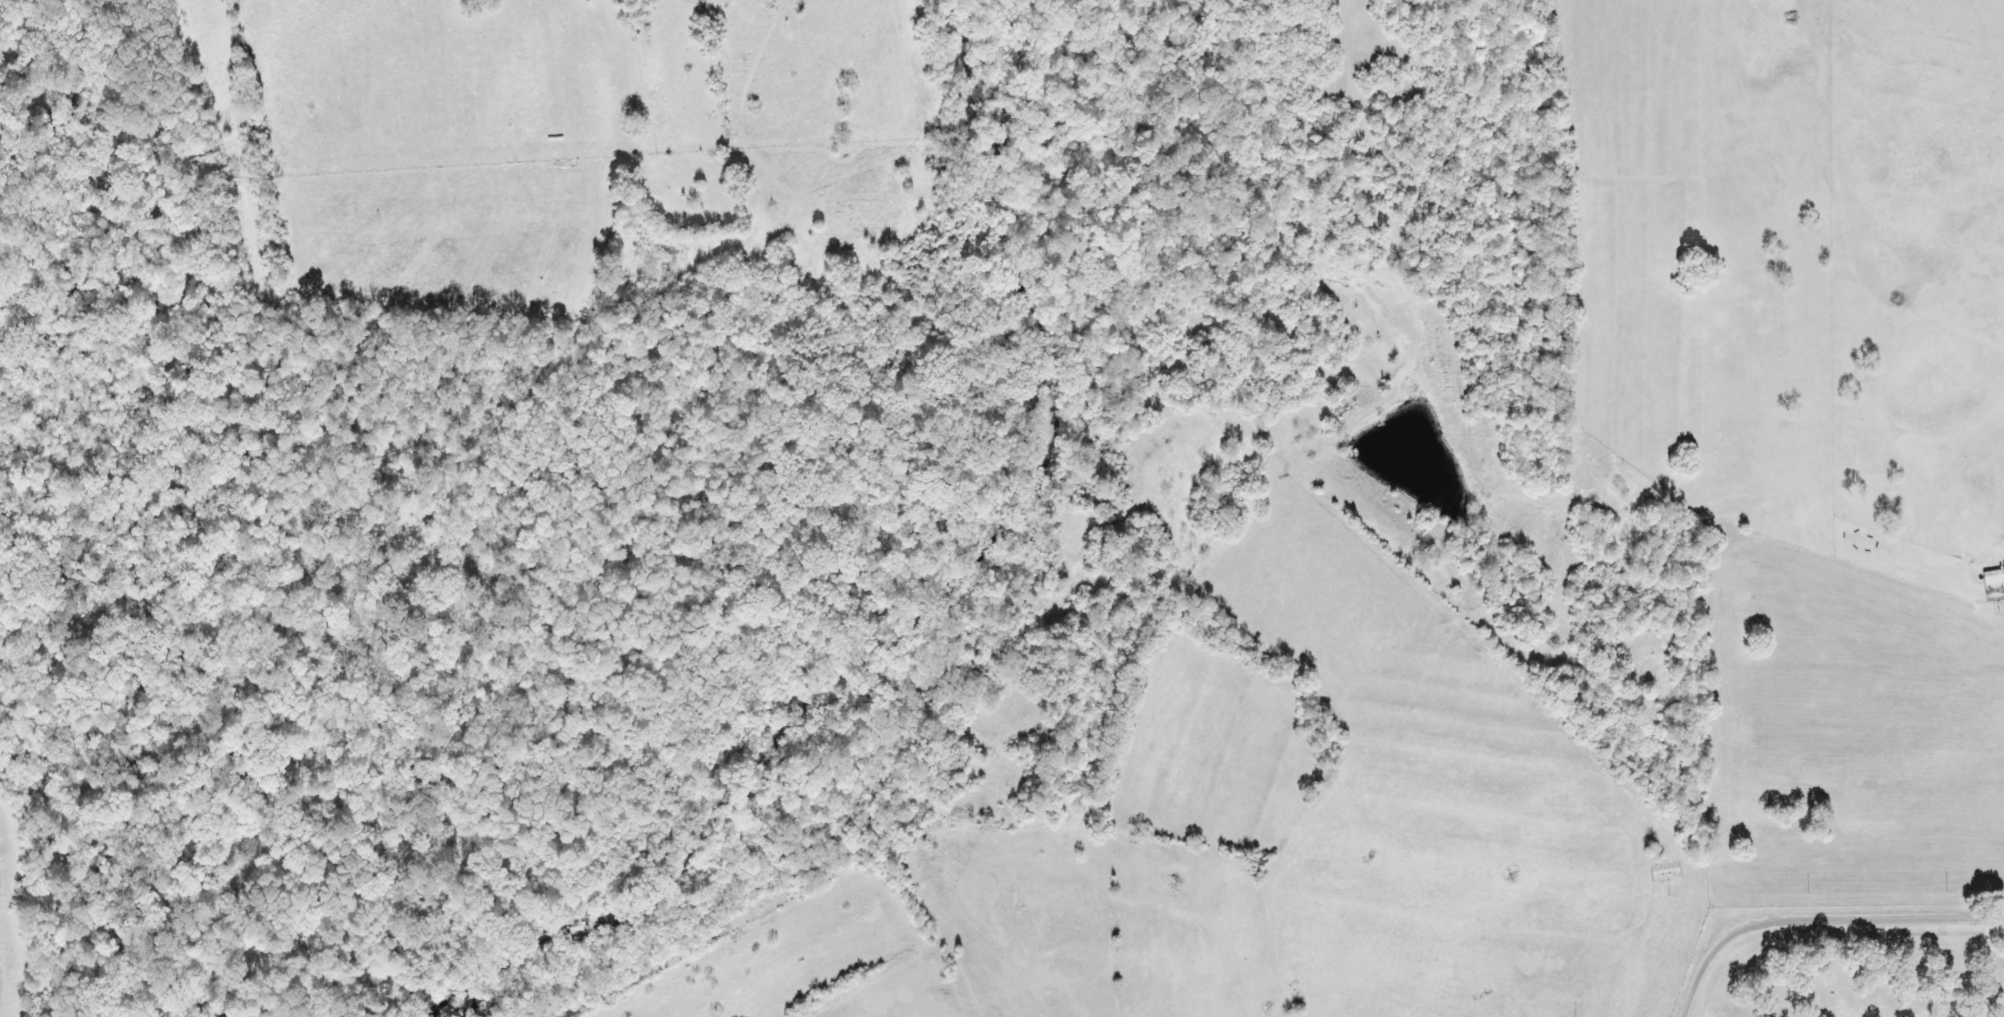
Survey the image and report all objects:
building: (1993, 576)
road: (1816, 919)

